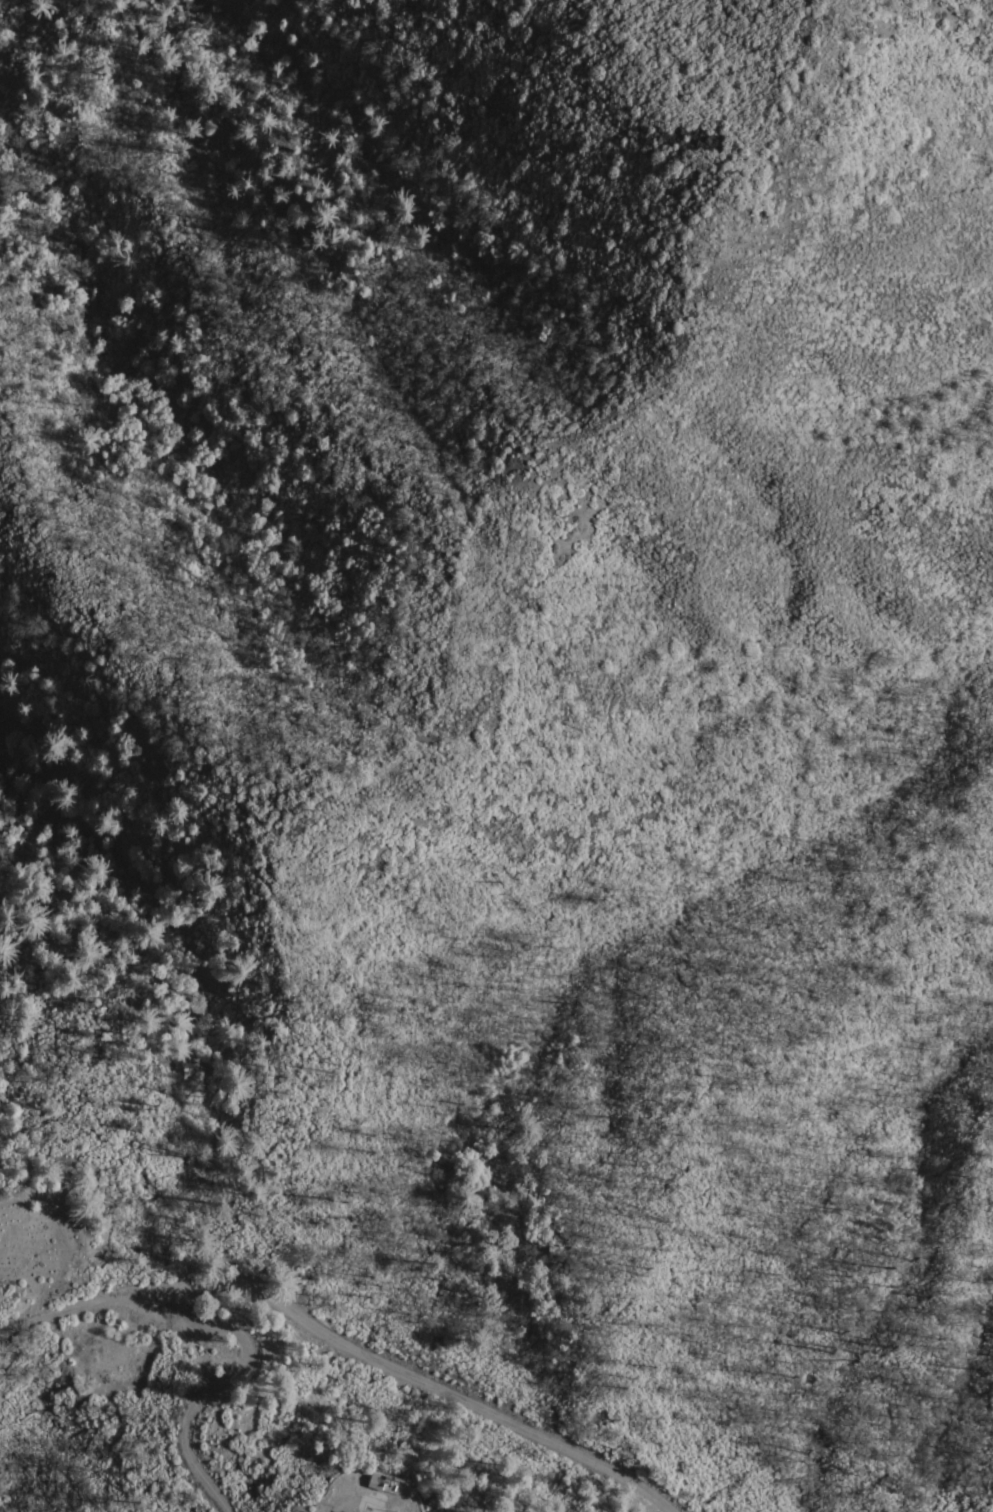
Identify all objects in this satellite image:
road: (70, 1304)
road: (156, 1306)
road: (181, 1321)
road: (409, 1377)
road: (215, 1384)
airport: (282, 1426)
building: (385, 1479)
building: (376, 1481)

